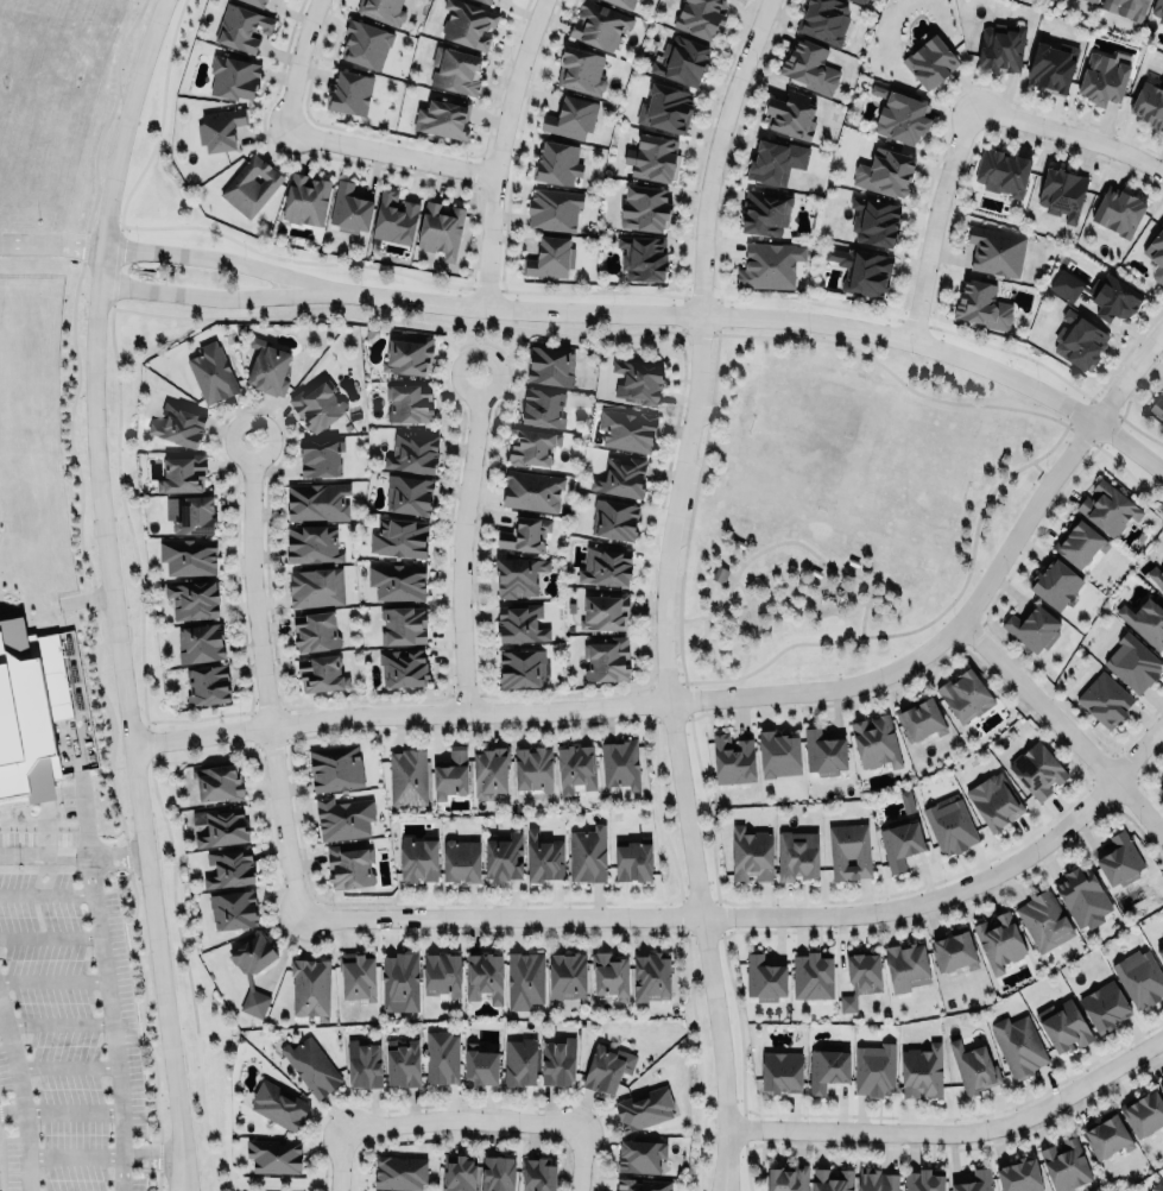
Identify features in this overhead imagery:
building: (1094, 0)
building: (486, 1)
building: (859, 1)
building: (257, 2)
building: (621, 4)
building: (1125, 7)
building: (381, 10)
building: (1157, 10)
building: (699, 17)
building: (823, 19)
building: (467, 24)
building: (598, 25)
building: (242, 27)
building: (365, 44)
building: (1000, 46)
building: (680, 59)
building: (929, 62)
road: (297, 64)
building: (809, 65)
building: (1050, 67)
building: (454, 69)
building: (579, 71)
building: (232, 76)
building: (1102, 77)
building: (348, 93)
building: (1150, 101)
building: (665, 107)
building: (790, 114)
building: (442, 118)
building: (570, 118)
building: (900, 118)
road: (126, 120)
building: (219, 128)
road: (1070, 133)
road: (499, 150)
road: (391, 151)
building: (652, 158)
building: (773, 160)
building: (555, 163)
building: (1000, 171)
building: (884, 172)
building: (249, 184)
building: (1061, 193)
building: (305, 200)
building: (644, 208)
building: (348, 209)
building: (552, 209)
building: (1117, 210)
building: (764, 212)
building: (393, 219)
road: (934, 220)
building: (873, 221)
building: (440, 228)
road: (51, 240)
building: (995, 251)
building: (1156, 254)
road: (214, 257)
building: (641, 257)
building: (550, 258)
building: (767, 265)
building: (860, 271)
building: (1098, 294)
road: (209, 296)
building: (981, 304)
road: (760, 315)
road: (718, 330)
road: (481, 340)
building: (1079, 340)
building: (404, 357)
building: (549, 365)
road: (886, 367)
building: (267, 368)
building: (210, 372)
building: (638, 380)
parking lot: (707, 390)
building: (407, 403)
building: (316, 405)
building: (542, 407)
building: (1156, 408)
building: (177, 423)
building: (626, 429)
road: (1057, 437)
building: (532, 446)
building: (411, 452)
building: (320, 458)
road: (1037, 466)
building: (181, 473)
building: (620, 477)
building: (531, 490)
building: (407, 493)
building: (315, 500)
parking lot: (688, 503)
park: (845, 503)
road: (691, 506)
building: (1106, 509)
building: (189, 512)
building: (613, 519)
building: (523, 534)
building: (399, 537)
road: (789, 540)
road: (463, 542)
building: (310, 543)
building: (1079, 543)
building: (188, 554)
road: (666, 560)
building: (605, 566)
building: (517, 575)
building: (1156, 575)
building: (396, 580)
building: (1054, 582)
building: (315, 586)
building: (191, 599)
building: (603, 610)
parking lot: (675, 611)
building: (1142, 619)
building: (519, 623)
building: (400, 625)
building: (1032, 628)
road: (900, 631)
building: (315, 632)
building: (198, 643)
building: (605, 658)
building: (1132, 663)
building: (403, 667)
building: (520, 667)
building: (321, 675)
road: (264, 678)
building: (206, 685)
building: (965, 693)
road: (734, 697)
building: (1104, 699)
building: (40, 711)
road: (129, 716)
building: (919, 716)
road: (1061, 725)
building: (876, 739)
building: (823, 749)
building: (778, 751)
building: (732, 760)
building: (619, 762)
building: (532, 765)
building: (335, 767)
building: (489, 767)
building: (575, 768)
building: (1037, 770)
building: (450, 774)
building: (407, 776)
building: (217, 780)
building: (1159, 786)
building: (990, 798)
building: (905, 800)
building: (343, 815)
parking lot: (65, 820)
building: (949, 825)
building: (222, 826)
building: (899, 843)
building: (848, 849)
building: (796, 852)
road: (74, 853)
building: (587, 853)
building: (751, 853)
building: (503, 855)
road: (89, 856)
building: (418, 856)
building: (460, 857)
building: (543, 857)
building: (1119, 857)
building: (633, 858)
building: (348, 865)
building: (228, 867)
building: (1081, 893)
road: (46, 894)
building: (233, 908)
road: (764, 914)
building: (1036, 920)
building: (998, 940)
building: (953, 949)
building: (1159, 950)
building: (905, 966)
building: (253, 968)
building: (356, 973)
building: (441, 973)
building: (483, 973)
building: (567, 975)
building: (811, 975)
building: (609, 976)
building: (651, 976)
building: (764, 976)
building: (860, 976)
road: (52, 977)
building: (524, 977)
building: (1139, 977)
building: (399, 979)
building: (309, 984)
building: (1100, 1003)
road: (59, 1022)
building: (1057, 1025)
road: (113, 1031)
parking lot: (67, 1036)
building: (1017, 1042)
road: (13, 1055)
building: (441, 1057)
building: (519, 1059)
building: (557, 1059)
building: (403, 1060)
building: (362, 1061)
building: (481, 1064)
building: (973, 1064)
building: (311, 1066)
building: (603, 1066)
building: (827, 1066)
building: (874, 1066)
building: (922, 1069)
building: (780, 1072)
building: (1161, 1084)
building: (278, 1104)
building: (644, 1107)
road: (12, 1109)
road: (71, 1110)
building: (1143, 1113)
road: (461, 1117)
road: (955, 1132)
building: (1106, 1134)
road: (24, 1149)
road: (74, 1154)
building: (640, 1154)
building: (273, 1155)
road: (580, 1157)
road: (152, 1158)
road: (720, 1159)
road: (726, 1159)
road: (339, 1160)
building: (1064, 1164)
building: (497, 1171)
building: (399, 1172)
building: (457, 1172)
building: (539, 1173)
building: (1019, 1174)
building: (788, 1178)
building: (832, 1179)
building: (877, 1179)
building: (923, 1179)
building: (974, 1180)
road: (261, 1181)
building: (643, 1184)
building: (1157, 1185)
road: (184, 1189)
road: (187, 1189)

